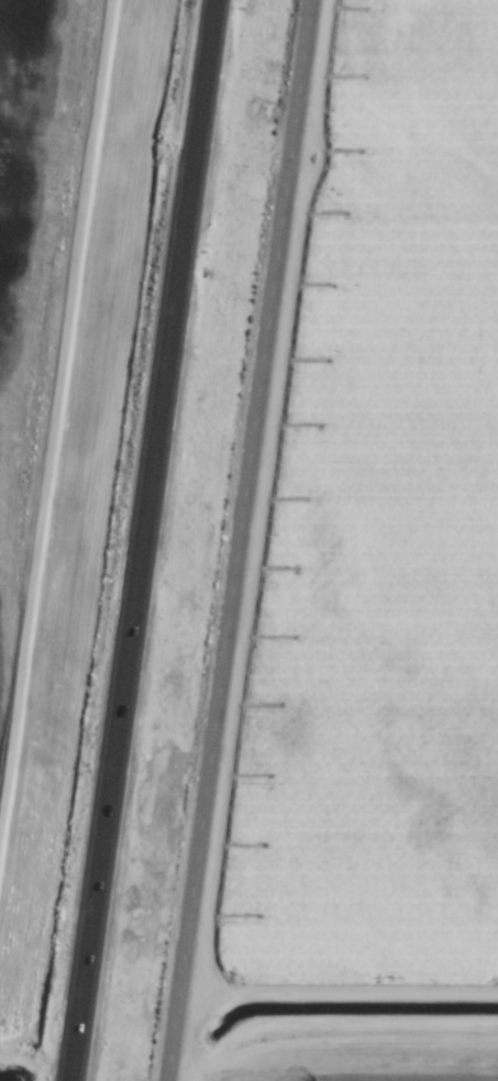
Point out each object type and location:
road: (139, 540)
road: (244, 540)
crop: (405, 549)
crop: (372, 1055)

